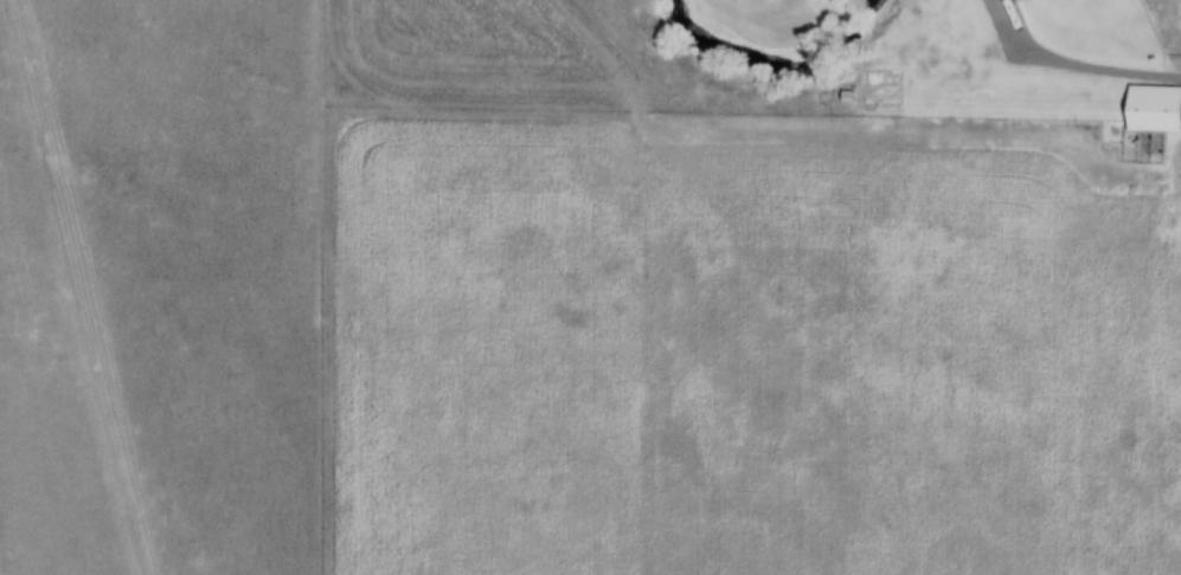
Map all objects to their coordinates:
building: (977, 0)
building: (1154, 117)

